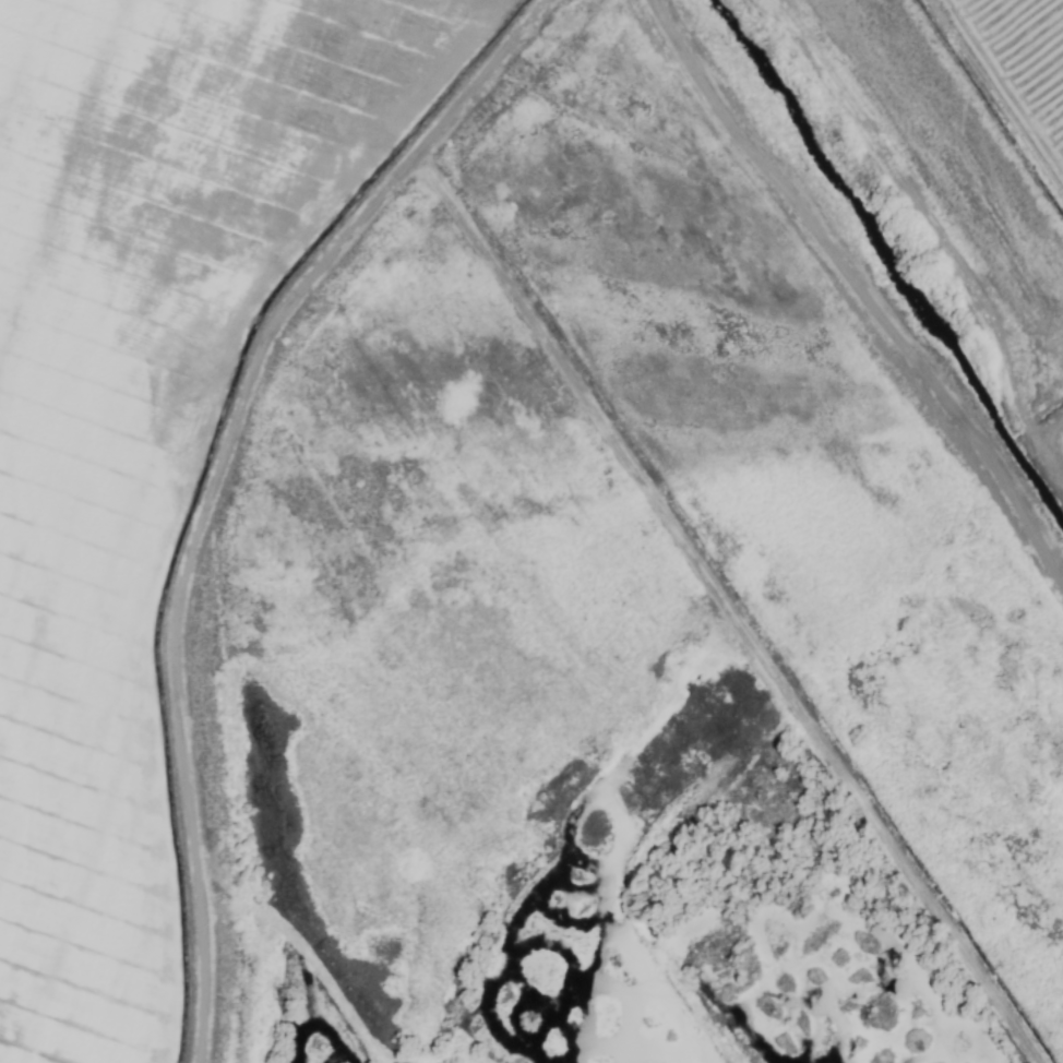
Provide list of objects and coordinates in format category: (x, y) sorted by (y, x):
crop: (531, 531)

